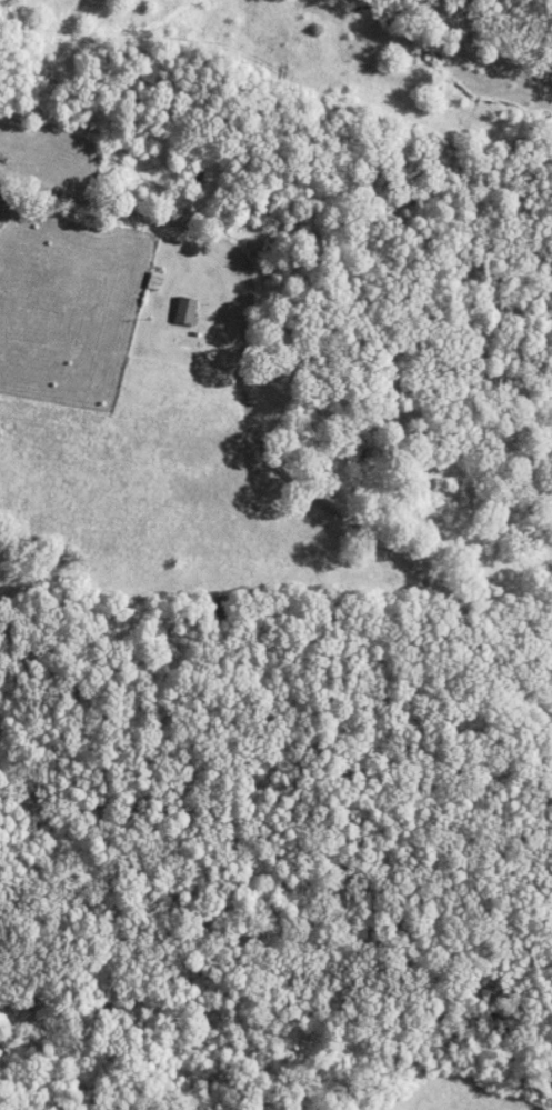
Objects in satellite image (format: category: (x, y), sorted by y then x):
road: (488, 60)
building: (189, 311)
road: (257, 416)

